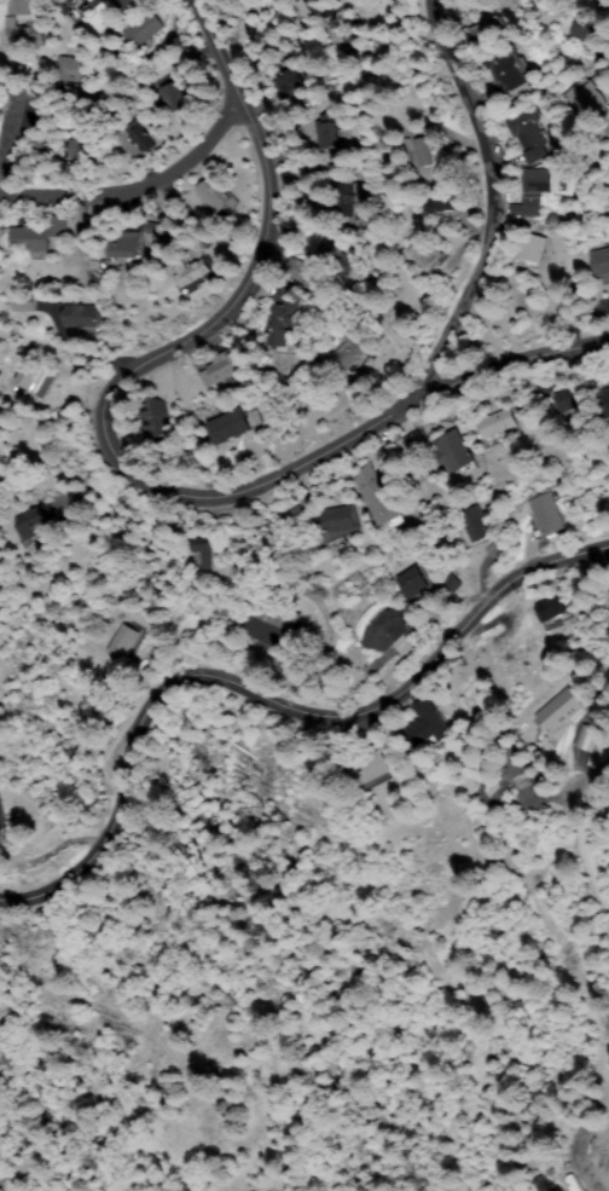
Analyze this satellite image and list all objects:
building: (60, 2)
building: (122, 2)
building: (19, 6)
building: (144, 28)
building: (487, 29)
building: (588, 29)
building: (340, 30)
building: (28, 34)
road: (204, 65)
building: (69, 68)
building: (505, 70)
building: (289, 77)
building: (174, 96)
building: (590, 104)
building: (60, 109)
building: (329, 131)
building: (140, 135)
building: (530, 135)
road: (13, 144)
building: (86, 149)
building: (37, 150)
building: (424, 151)
building: (338, 170)
road: (123, 190)
building: (607, 190)
building: (536, 191)
building: (216, 196)
building: (441, 197)
road: (491, 198)
building: (348, 200)
building: (156, 227)
building: (39, 235)
building: (126, 243)
building: (533, 249)
building: (424, 250)
building: (601, 264)
building: (323, 266)
building: (297, 268)
building: (195, 274)
building: (25, 302)
building: (88, 316)
building: (284, 317)
building: (354, 352)
building: (225, 368)
building: (35, 372)
building: (607, 397)
building: (572, 398)
building: (158, 423)
building: (497, 423)
building: (231, 426)
building: (417, 440)
building: (457, 456)
road: (161, 479)
building: (379, 499)
building: (545, 514)
building: (34, 519)
building: (335, 520)
building: (478, 525)
building: (499, 549)
building: (203, 550)
building: (417, 584)
building: (608, 592)
building: (552, 608)
building: (277, 624)
building: (387, 630)
building: (123, 641)
road: (265, 687)
building: (468, 687)
building: (558, 711)
building: (425, 727)
building: (586, 738)
road: (550, 764)
building: (370, 769)
building: (518, 773)
building: (1, 822)

